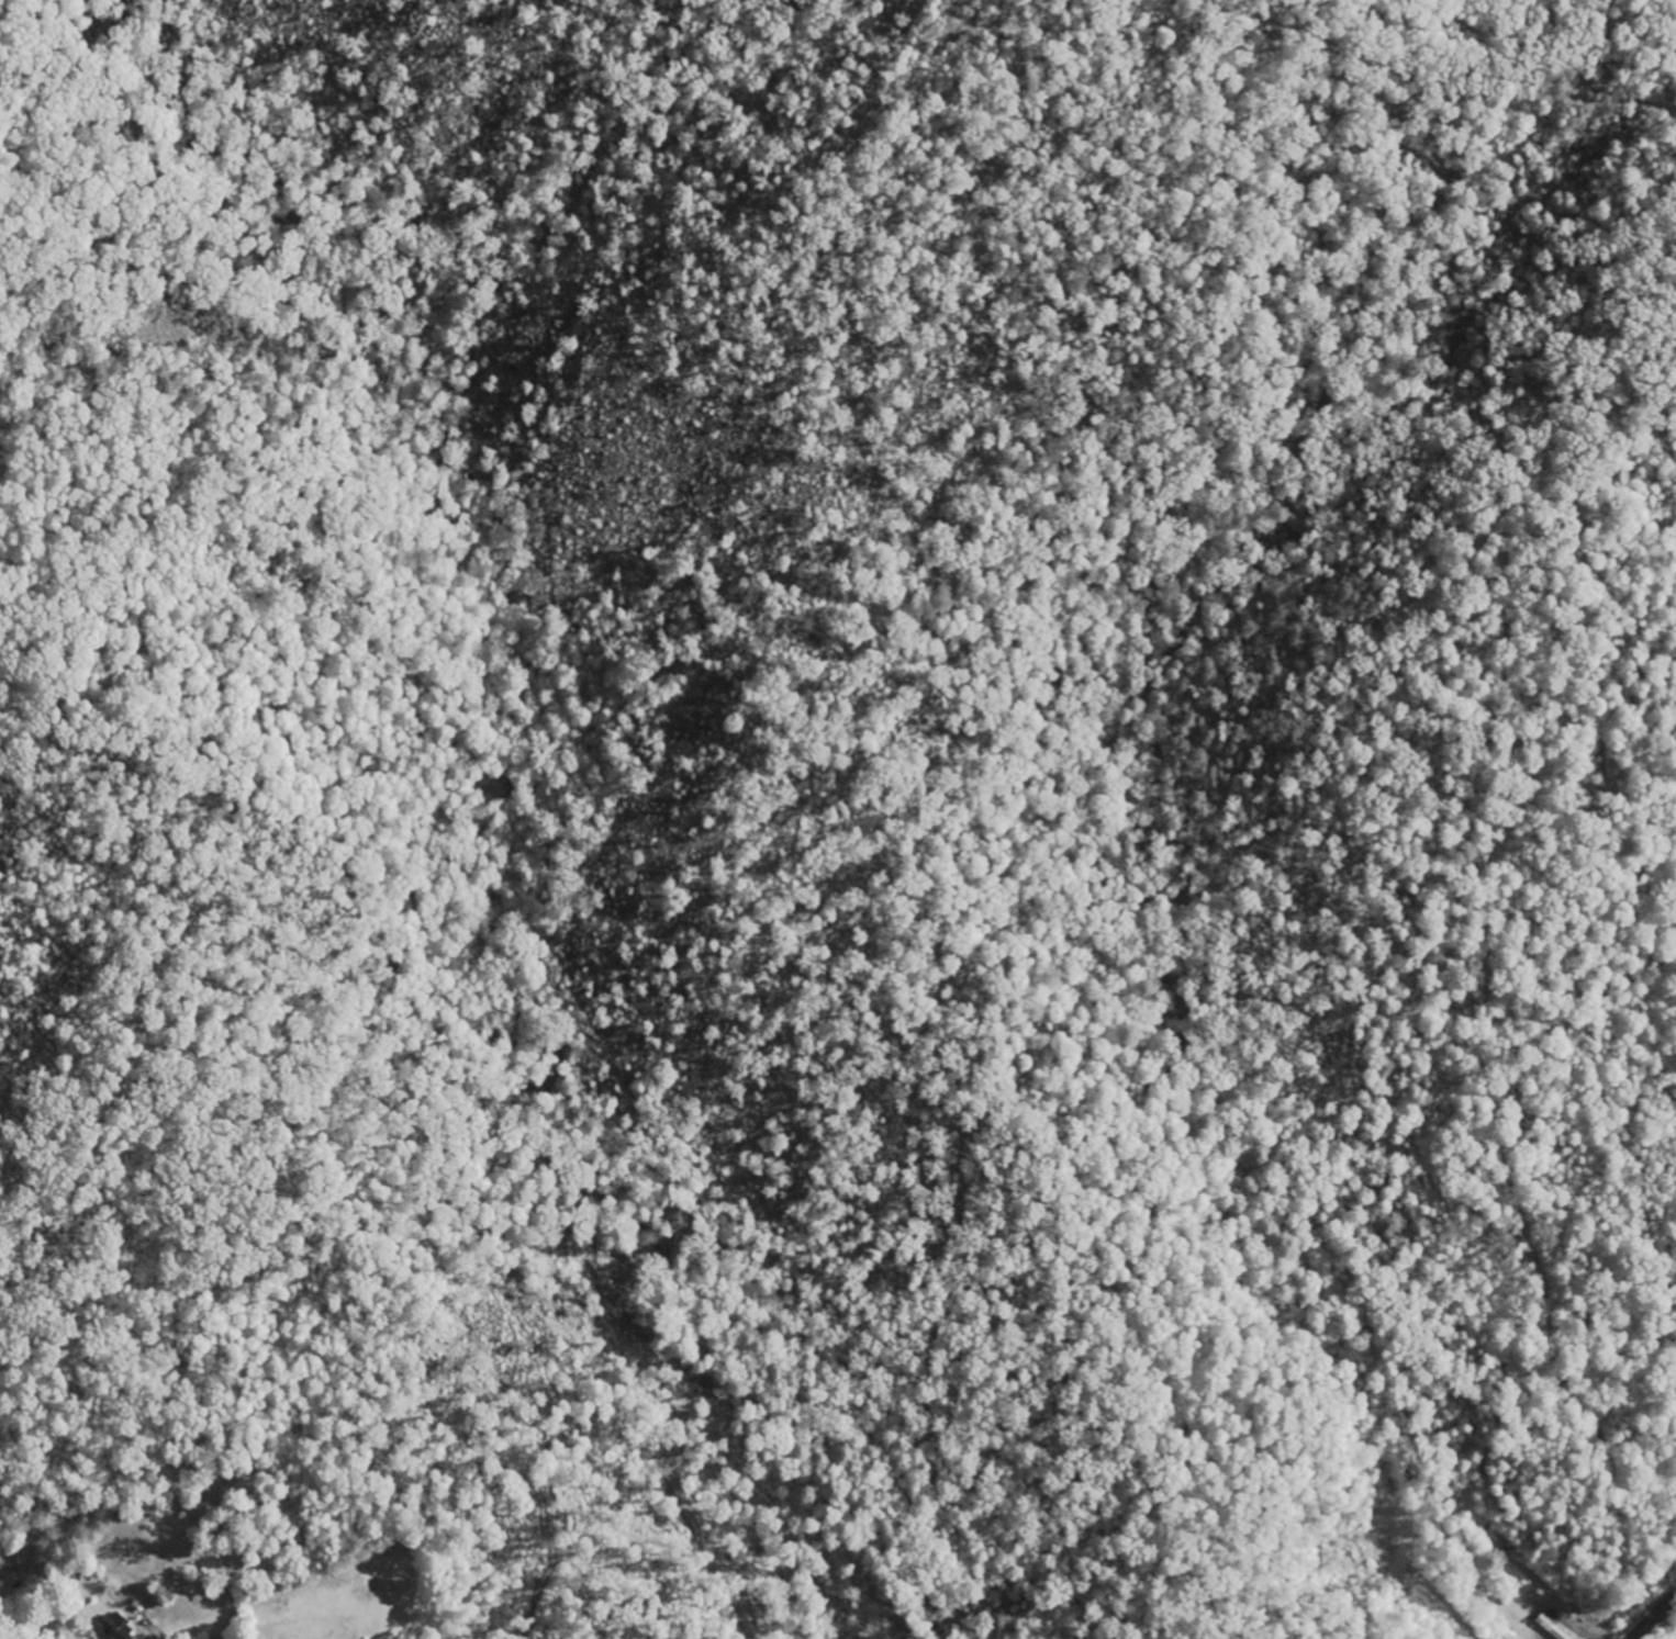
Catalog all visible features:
road: (1470, 1604)
road: (1655, 1618)
building: (116, 1628)
building: (1552, 1628)

